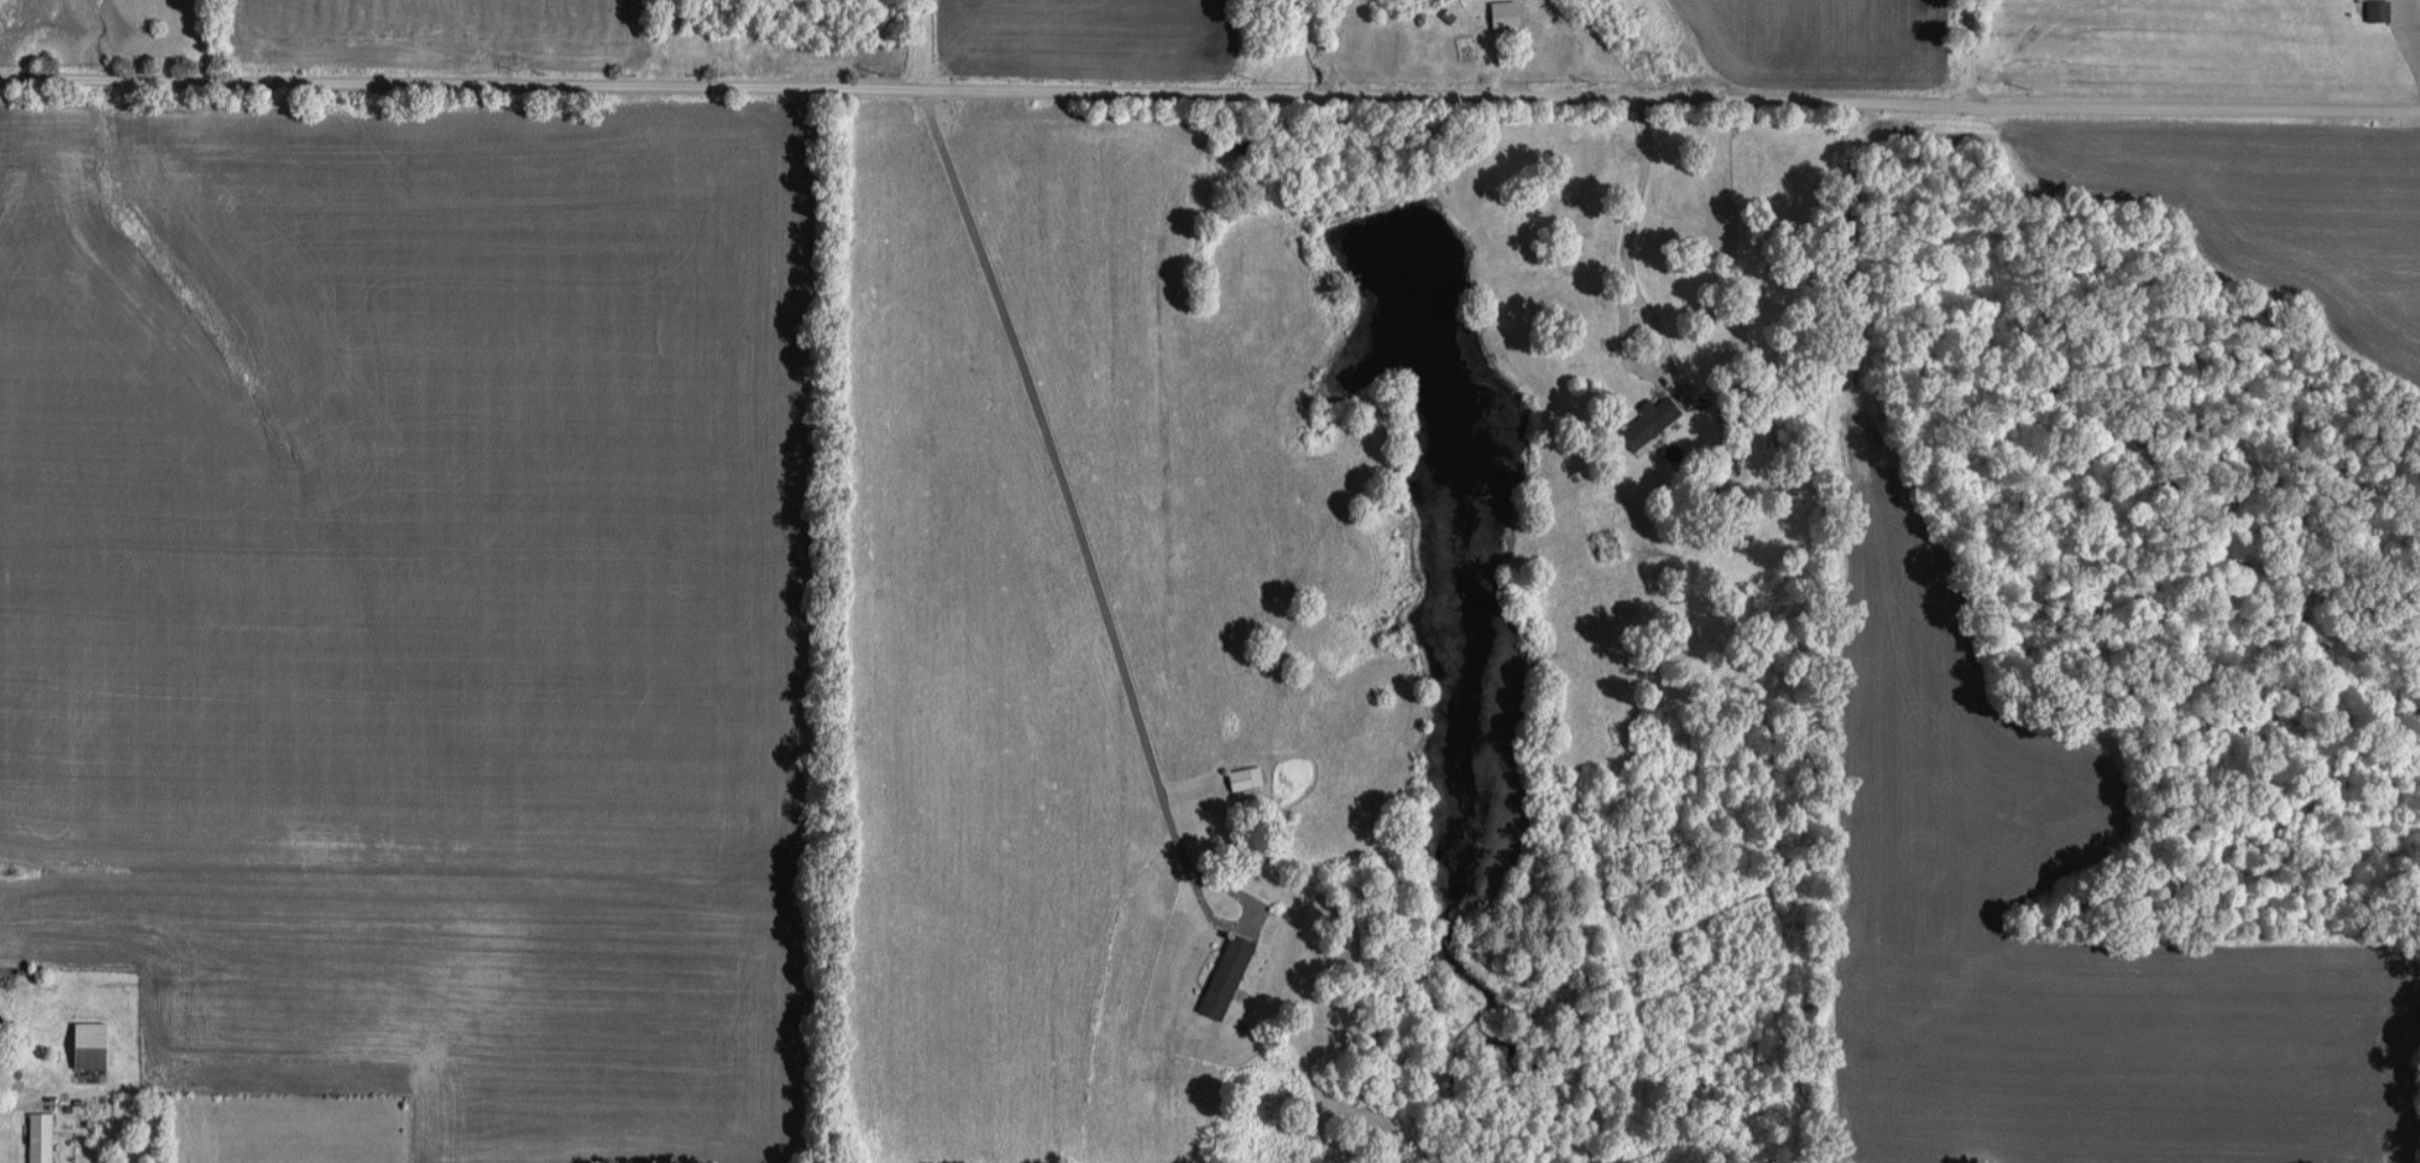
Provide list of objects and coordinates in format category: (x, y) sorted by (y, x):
building: (2380, 10)
building: (1507, 13)
road: (917, 46)
road: (1967, 51)
road: (425, 87)
road: (1635, 96)
road: (1627, 294)
building: (1653, 420)
road: (1092, 563)
building: (1229, 975)
building: (94, 1044)
road: (23, 1097)
building: (43, 1137)

